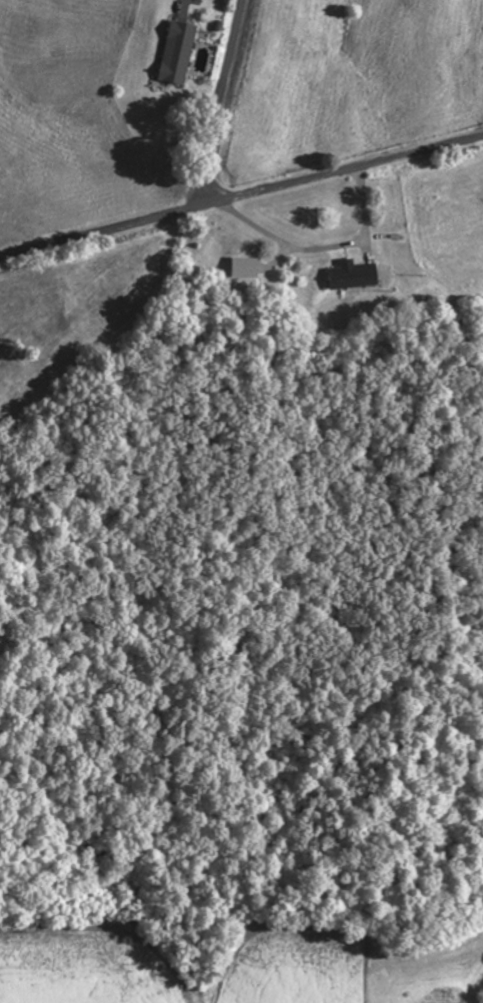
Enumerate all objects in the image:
building: (176, 53)
road: (216, 103)
road: (241, 198)
building: (240, 269)
building: (348, 277)

